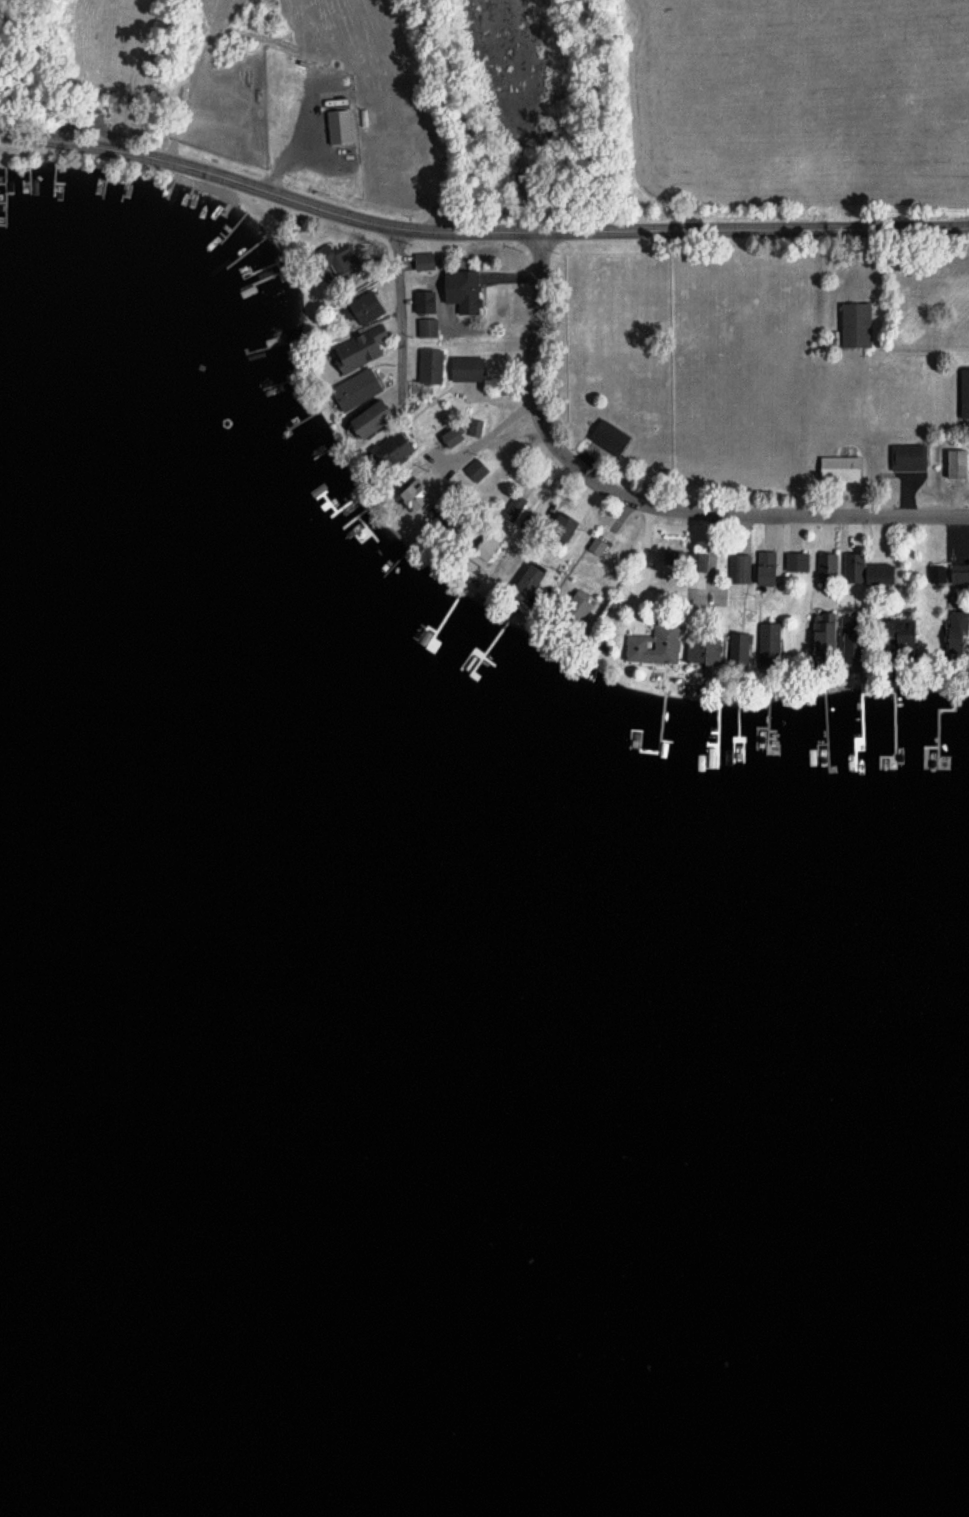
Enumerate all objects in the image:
building: (336, 125)
road: (478, 235)
building: (331, 259)
building: (422, 259)
building: (465, 291)
building: (423, 300)
building: (359, 307)
road: (399, 322)
building: (852, 323)
building: (426, 326)
building: (429, 364)
building: (464, 367)
building: (352, 388)
building: (963, 392)
building: (363, 417)
building: (474, 426)
building: (447, 435)
building: (606, 435)
building: (906, 456)
building: (953, 462)
building: (837, 467)
building: (475, 469)
building: (407, 495)
building: (513, 506)
road: (643, 507)
building: (560, 526)
building: (480, 551)
building: (794, 560)
building: (697, 561)
building: (826, 565)
building: (763, 566)
building: (738, 567)
building: (863, 570)
building: (935, 572)
building: (958, 572)
building: (524, 582)
building: (573, 608)
building: (953, 629)
building: (821, 631)
building: (769, 636)
building: (898, 636)
building: (651, 644)
building: (845, 645)
building: (739, 646)
building: (700, 650)

